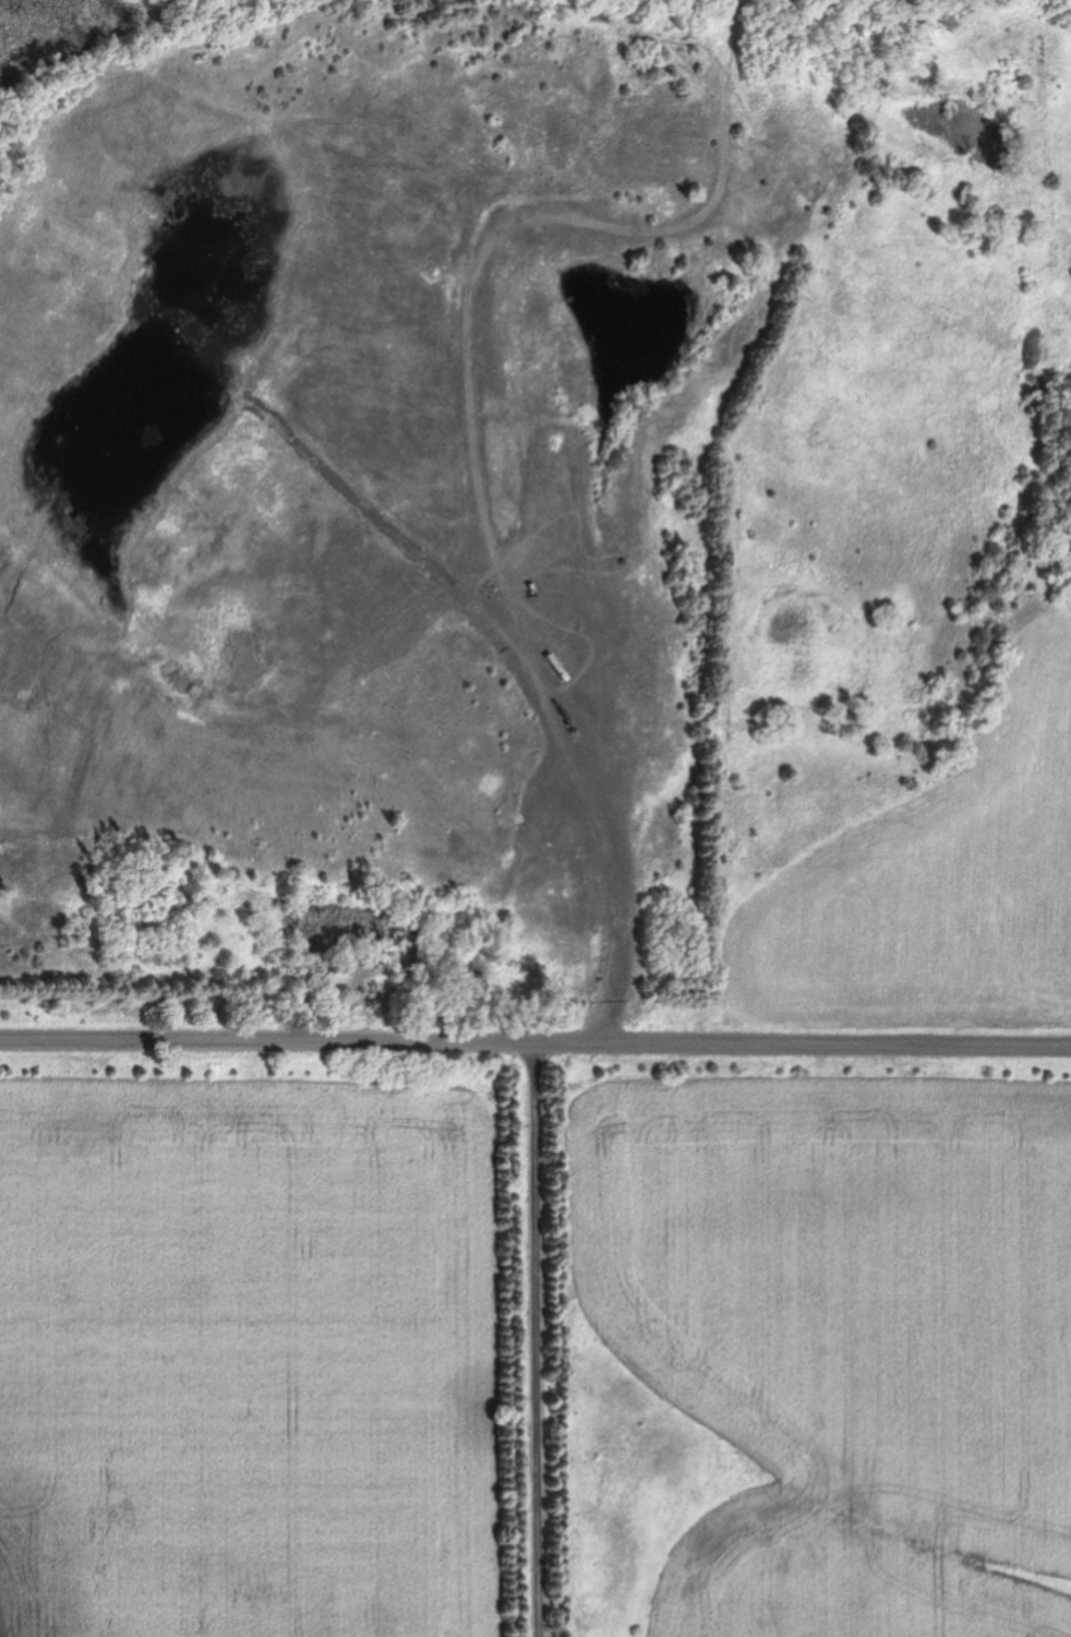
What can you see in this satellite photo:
road: (535, 1043)
road: (539, 1340)

